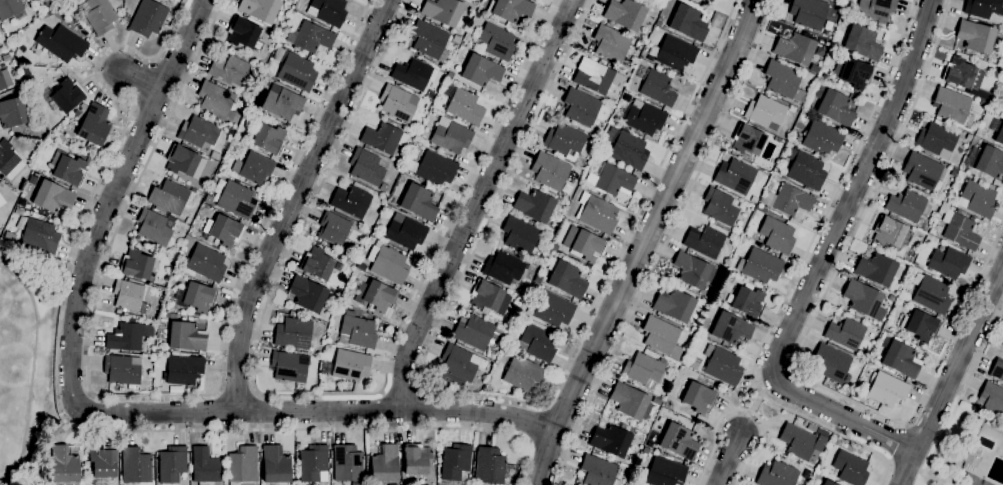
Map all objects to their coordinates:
building: (707, 1)
building: (41, 2)
building: (983, 7)
building: (11, 9)
building: (260, 9)
building: (510, 9)
building: (875, 9)
building: (58, 10)
building: (443, 10)
building: (327, 11)
building: (50, 12)
building: (809, 13)
building: (98, 14)
building: (625, 14)
building: (148, 17)
building: (658, 22)
building: (688, 22)
building: (243, 33)
building: (976, 35)
building: (311, 37)
building: (429, 40)
building: (497, 41)
building: (861, 41)
building: (61, 42)
building: (611, 43)
building: (795, 48)
building: (673, 52)
building: (966, 56)
building: (984, 57)
building: (229, 70)
building: (481, 70)
building: (297, 72)
building: (853, 72)
building: (414, 73)
building: (450, 74)
building: (965, 77)
road: (141, 78)
building: (597, 78)
building: (5, 80)
building: (784, 80)
building: (17, 82)
building: (657, 87)
building: (18, 88)
building: (430, 93)
building: (65, 95)
building: (216, 101)
building: (283, 102)
building: (398, 103)
building: (984, 103)
building: (463, 104)
building: (833, 105)
building: (953, 106)
building: (581, 107)
building: (12, 112)
building: (765, 112)
building: (76, 113)
building: (645, 118)
building: (614, 119)
building: (569, 124)
building: (94, 125)
building: (198, 132)
building: (451, 135)
building: (999, 135)
building: (821, 137)
building: (269, 138)
building: (384, 138)
building: (564, 139)
building: (748, 139)
building: (936, 140)
building: (627, 148)
building: (181, 160)
building: (9, 161)
building: (990, 162)
building: (215, 164)
building: (67, 167)
building: (254, 167)
building: (367, 167)
building: (434, 168)
building: (805, 168)
building: (550, 171)
building: (923, 171)
building: (953, 171)
building: (735, 176)
building: (610, 179)
building: (1, 184)
building: (384, 187)
road: (855, 189)
building: (50, 196)
building: (169, 196)
building: (977, 197)
building: (1, 198)
building: (754, 199)
building: (235, 200)
building: (792, 200)
building: (352, 201)
building: (1, 202)
road: (295, 202)
building: (419, 202)
road: (479, 202)
building: (908, 205)
building: (537, 206)
building: (719, 206)
building: (596, 213)
building: (188, 220)
building: (155, 226)
building: (333, 228)
building: (959, 228)
building: (222, 230)
building: (406, 231)
building: (889, 231)
building: (38, 234)
building: (519, 234)
building: (776, 235)
road: (643, 240)
building: (705, 241)
road: (665, 242)
building: (587, 245)
building: (882, 248)
building: (948, 262)
building: (205, 263)
building: (317, 263)
building: (136, 264)
building: (390, 265)
building: (760, 265)
building: (504, 267)
building: (878, 269)
building: (692, 270)
road: (796, 273)
building: (539, 278)
building: (565, 278)
building: (749, 286)
building: (931, 293)
building: (307, 294)
building: (129, 296)
building: (196, 296)
building: (377, 297)
building: (490, 297)
building: (892, 298)
building: (864, 299)
building: (748, 301)
building: (674, 305)
building: (552, 309)
building: (170, 315)
building: (920, 325)
building: (731, 328)
building: (357, 330)
building: (477, 331)
building: (294, 332)
building: (846, 333)
building: (128, 336)
building: (186, 336)
building: (662, 336)
road: (802, 342)
building: (537, 343)
building: (909, 344)
building: (152, 349)
building: (899, 358)
road: (959, 359)
building: (831, 362)
building: (350, 364)
building: (460, 364)
building: (722, 365)
building: (288, 367)
road: (31, 369)
building: (183, 369)
building: (644, 369)
building: (997, 369)
building: (123, 370)
building: (439, 373)
building: (523, 373)
building: (887, 389)
road: (963, 392)
road: (320, 393)
road: (154, 395)
road: (493, 397)
building: (699, 397)
building: (992, 399)
building: (629, 400)
building: (656, 401)
road: (755, 402)
road: (743, 410)
road: (101, 413)
road: (61, 414)
road: (844, 416)
road: (534, 423)
building: (612, 439)
building: (679, 441)
building: (798, 441)
road: (895, 442)
building: (648, 443)
building: (645, 449)
building: (596, 451)
road: (729, 458)
building: (972, 458)
building: (416, 459)
building: (103, 461)
building: (455, 462)
building: (172, 464)
building: (276, 464)
building: (314, 464)
building: (385, 464)
building: (64, 465)
building: (135, 465)
building: (243, 465)
building: (347, 465)
building: (489, 465)
building: (205, 466)
road: (908, 467)
building: (850, 468)
road: (921, 468)
building: (511, 471)
building: (599, 471)
building: (663, 472)
building: (777, 474)
building: (816, 475)
park: (934, 478)
building: (973, 480)
building: (828, 483)

